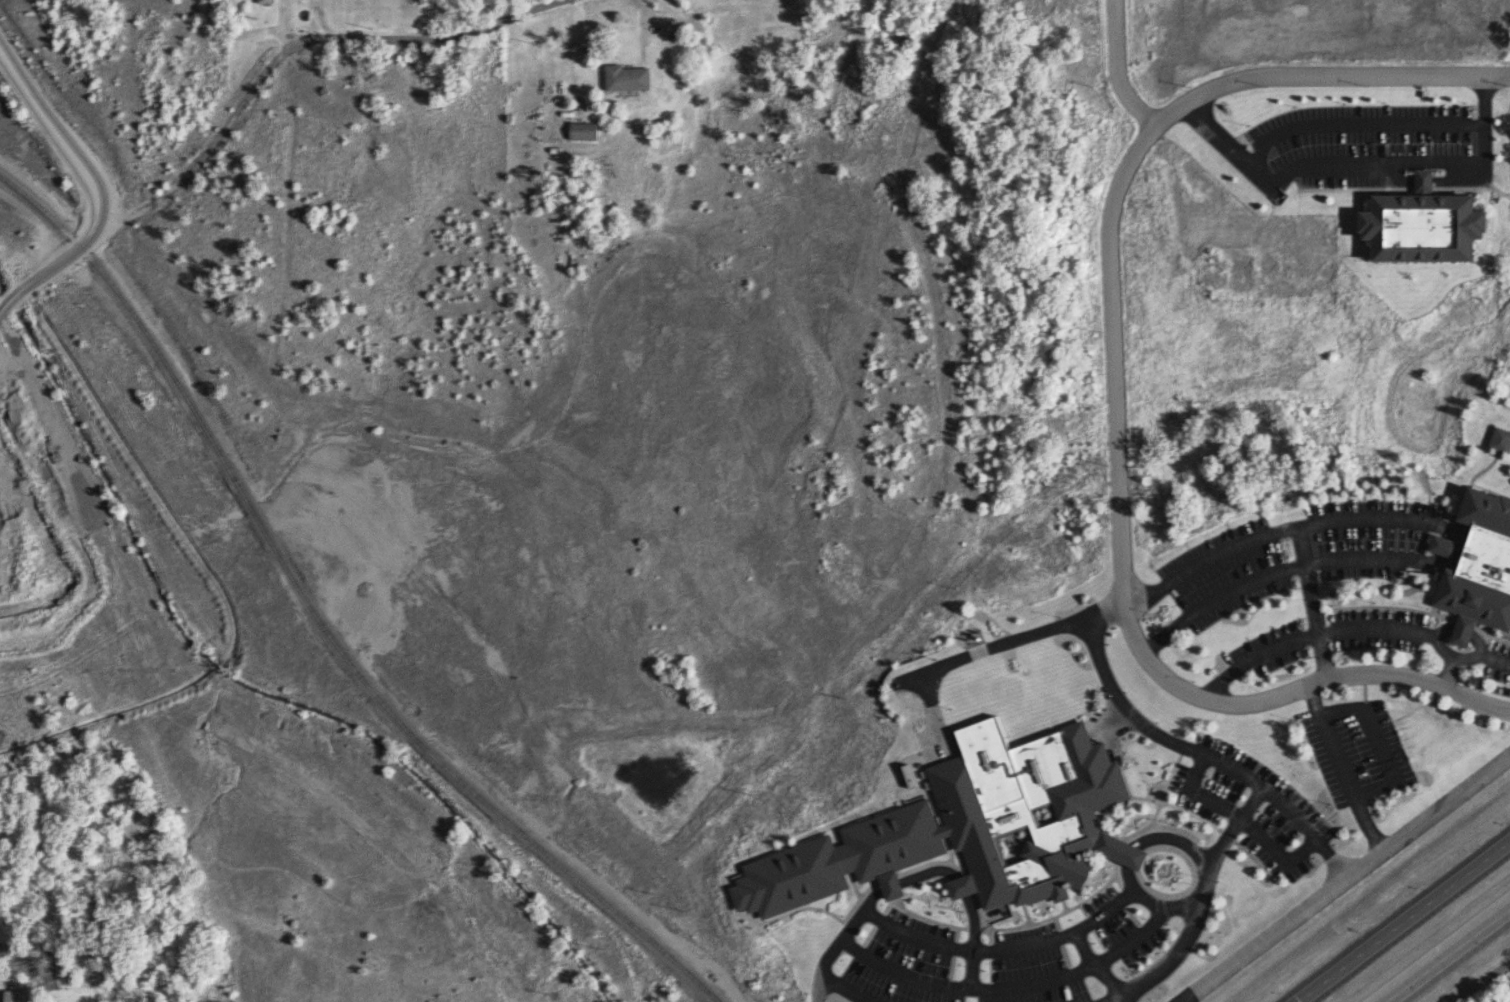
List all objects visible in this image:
road: (289, 44)
road: (1110, 70)
road: (1323, 76)
road: (61, 123)
road: (1336, 128)
road: (1370, 167)
building: (1434, 223)
road: (59, 268)
road: (1113, 362)
building: (1502, 437)
road: (1278, 530)
road: (1438, 544)
building: (1445, 544)
road: (1278, 568)
building: (1483, 569)
road: (1308, 601)
railway: (319, 619)
road: (1350, 630)
road: (1010, 643)
road: (1448, 671)
road: (1296, 689)
road: (937, 712)
road: (1376, 747)
road: (1198, 761)
road: (1339, 769)
building: (974, 825)
road: (1243, 828)
road: (1235, 829)
road: (1177, 849)
road: (1134, 863)
road: (1351, 878)
road: (935, 880)
road: (1131, 888)
road: (899, 891)
road: (963, 896)
road: (873, 907)
road: (1405, 923)
road: (974, 933)
road: (1186, 947)
road: (1450, 957)
road: (1004, 958)
road: (1098, 973)
road: (974, 979)
road: (986, 1000)

